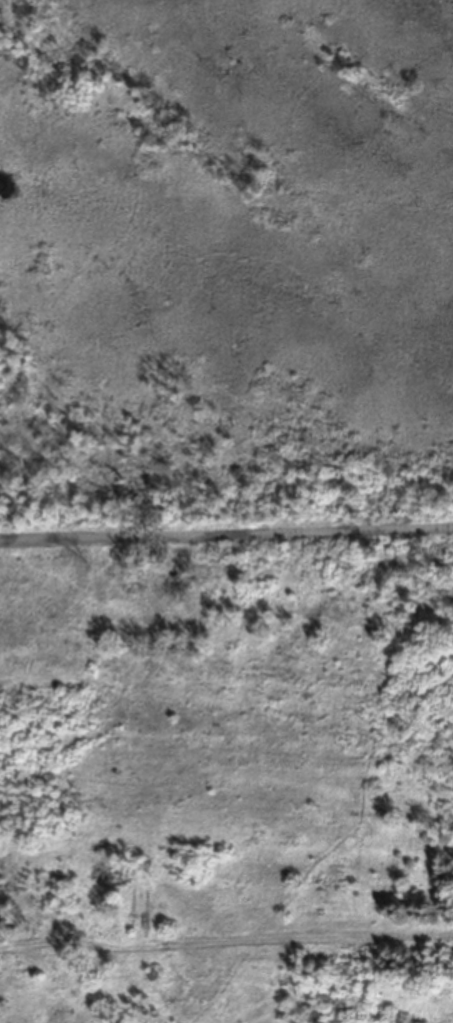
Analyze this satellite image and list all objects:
road: (226, 535)

